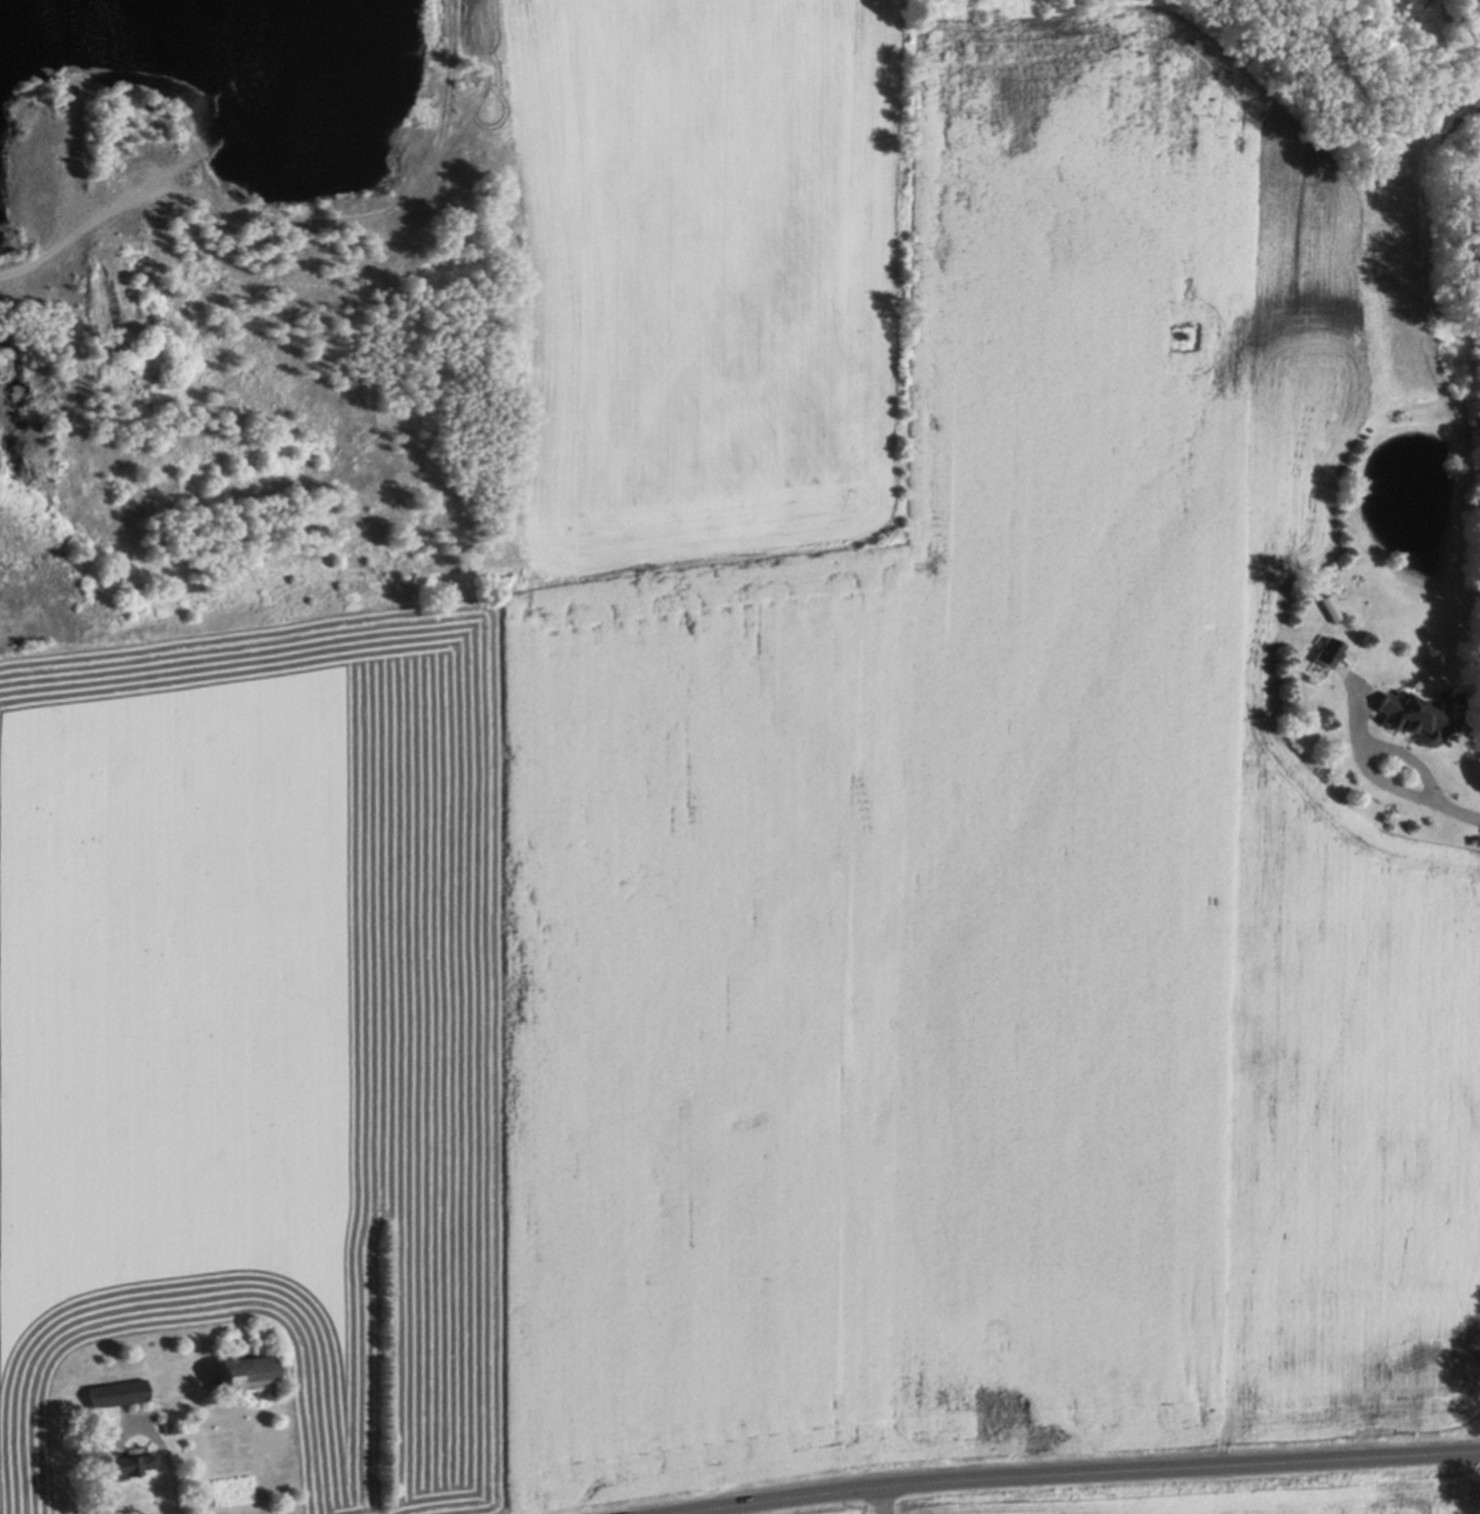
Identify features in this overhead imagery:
quarry: (238, 315)
building: (1330, 650)
building: (1413, 716)
road: (1439, 804)
building: (247, 1373)
building: (118, 1392)
building: (270, 1394)
building: (171, 1422)
building: (128, 1463)
road: (174, 1466)
road: (1070, 1474)
road: (880, 1499)

